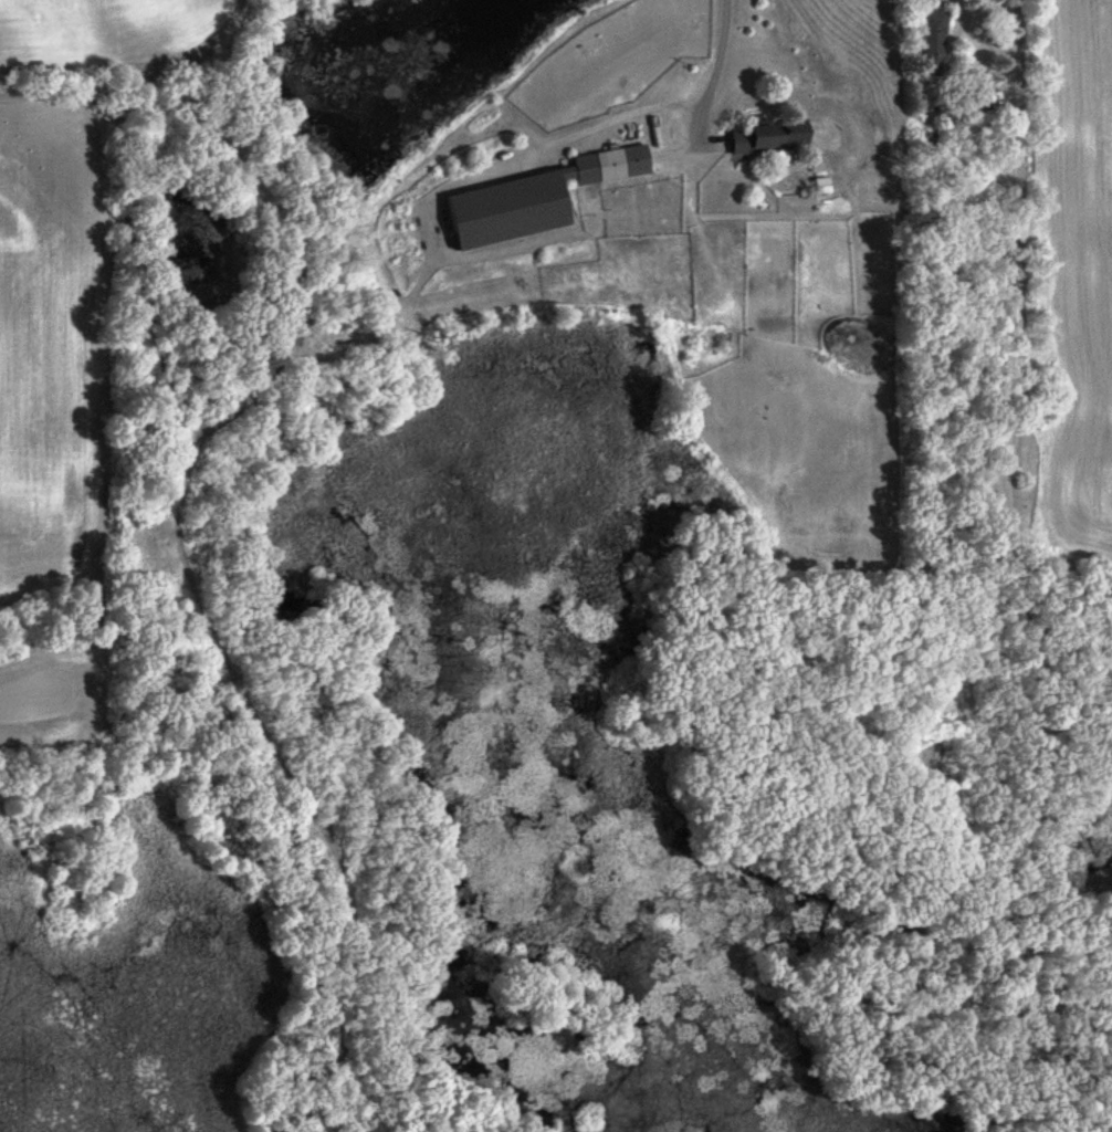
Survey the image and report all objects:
building: (933, 43)
road: (716, 67)
building: (978, 98)
building: (752, 136)
building: (525, 199)
road: (1019, 542)

